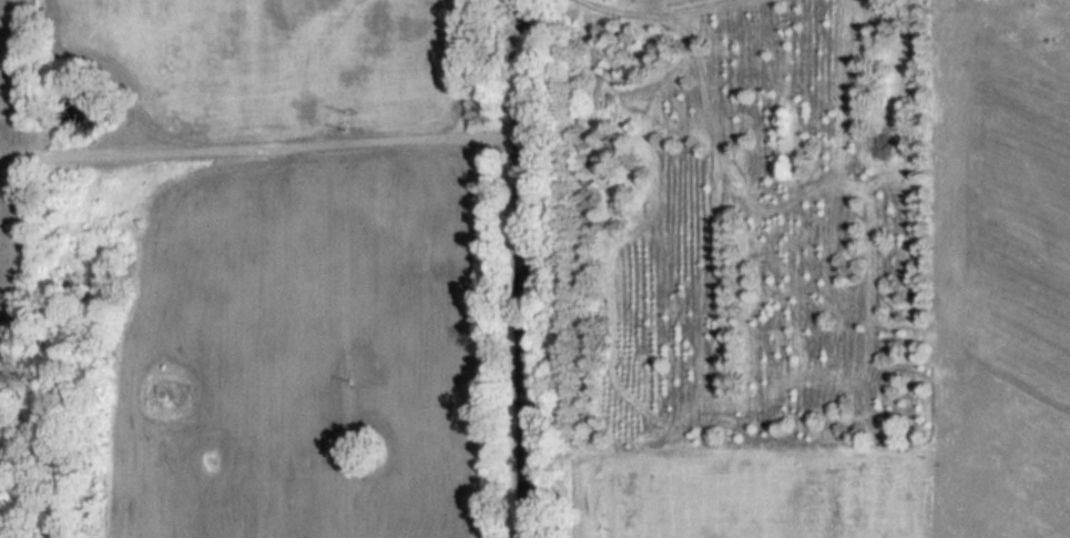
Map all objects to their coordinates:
road: (262, 160)
road: (524, 268)

